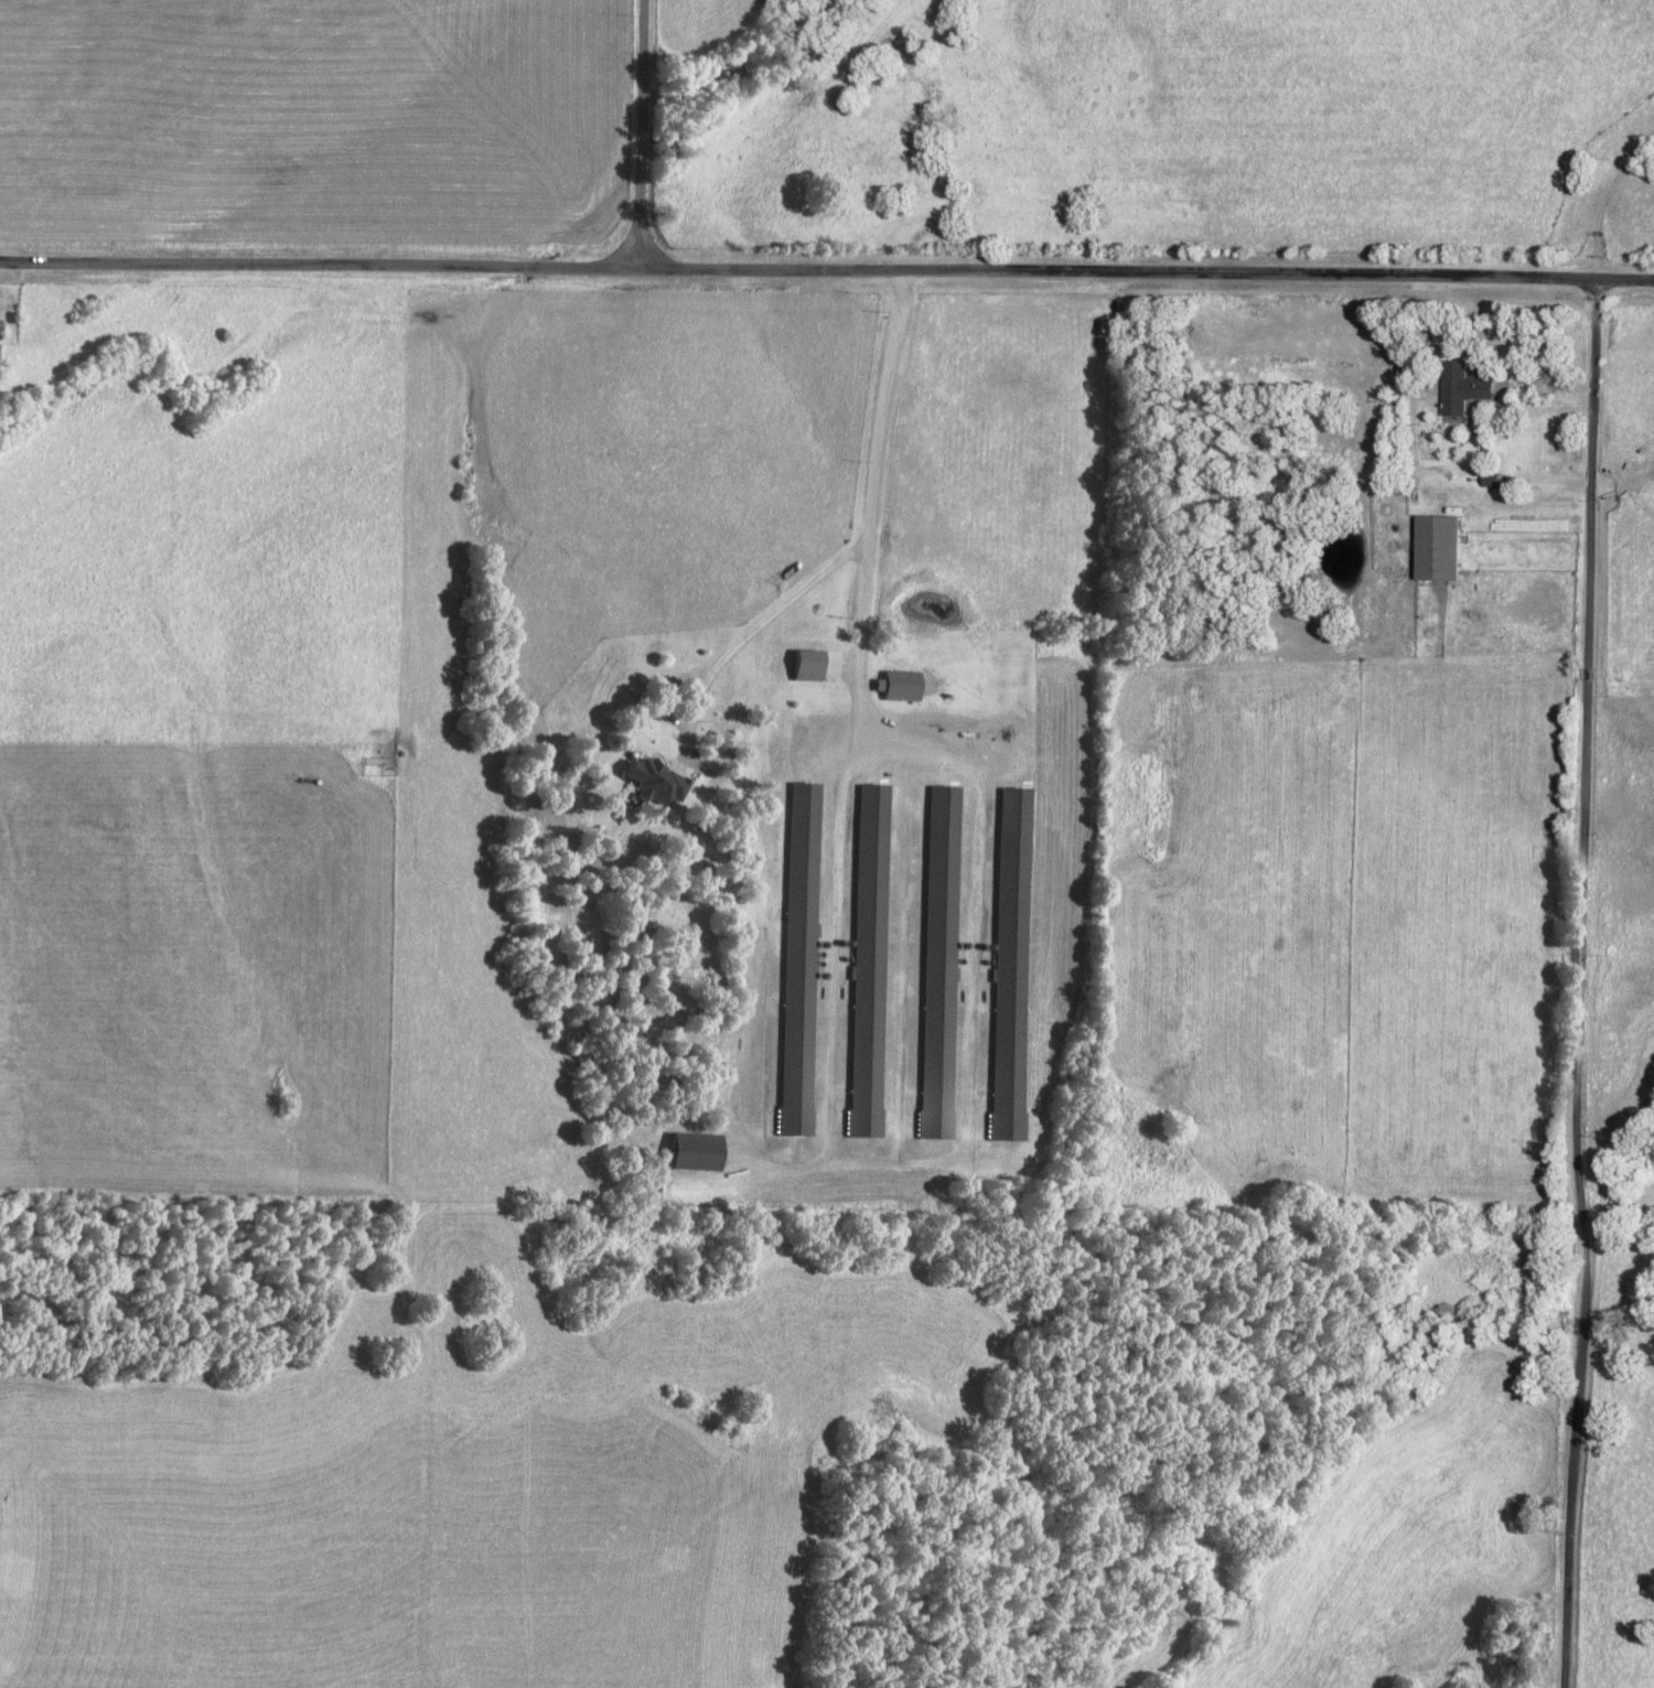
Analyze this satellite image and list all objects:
road: (644, 133)
road: (827, 269)
building: (1457, 388)
road: (869, 506)
building: (1430, 549)
road: (750, 634)
building: (801, 665)
building: (898, 686)
building: (649, 782)
road: (1578, 903)
building: (796, 959)
building: (867, 960)
building: (937, 963)
building: (1008, 964)
building: (686, 1152)

